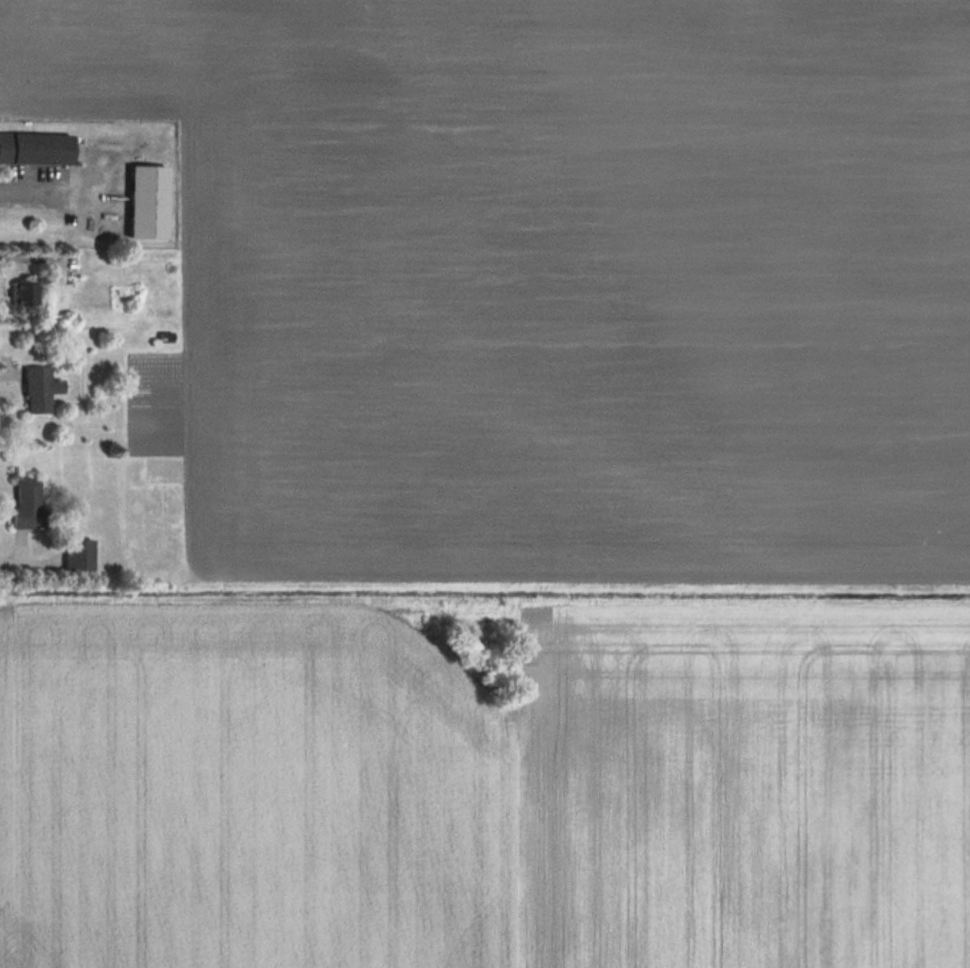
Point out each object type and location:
building: (36, 147)
road: (52, 191)
building: (148, 200)
building: (23, 292)
building: (39, 388)
building: (27, 502)
building: (78, 553)

